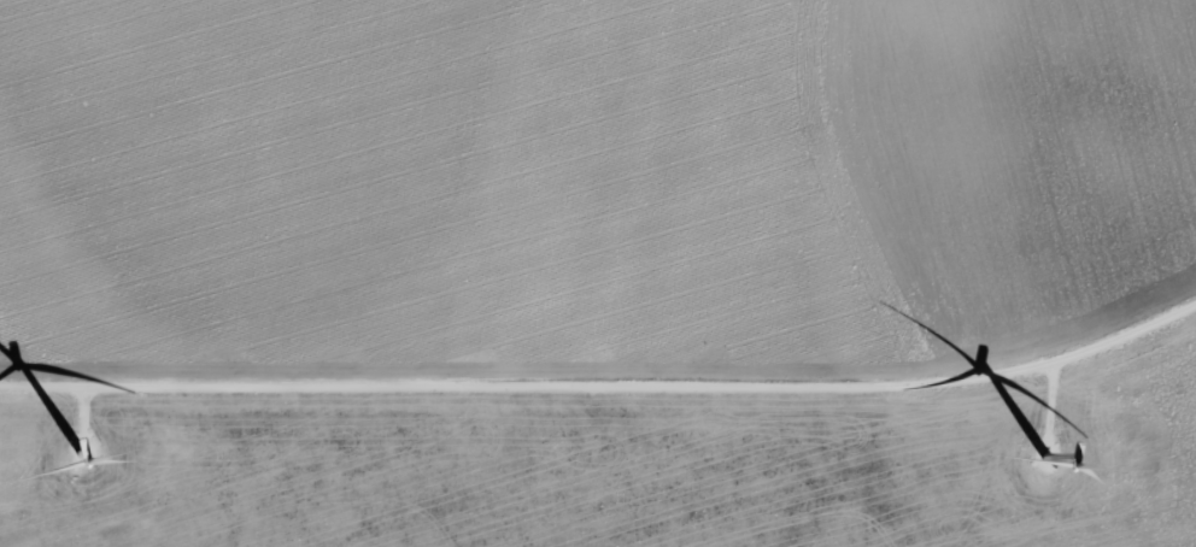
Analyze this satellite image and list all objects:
wind turbine: (80, 458)
wind turbine: (1048, 459)

